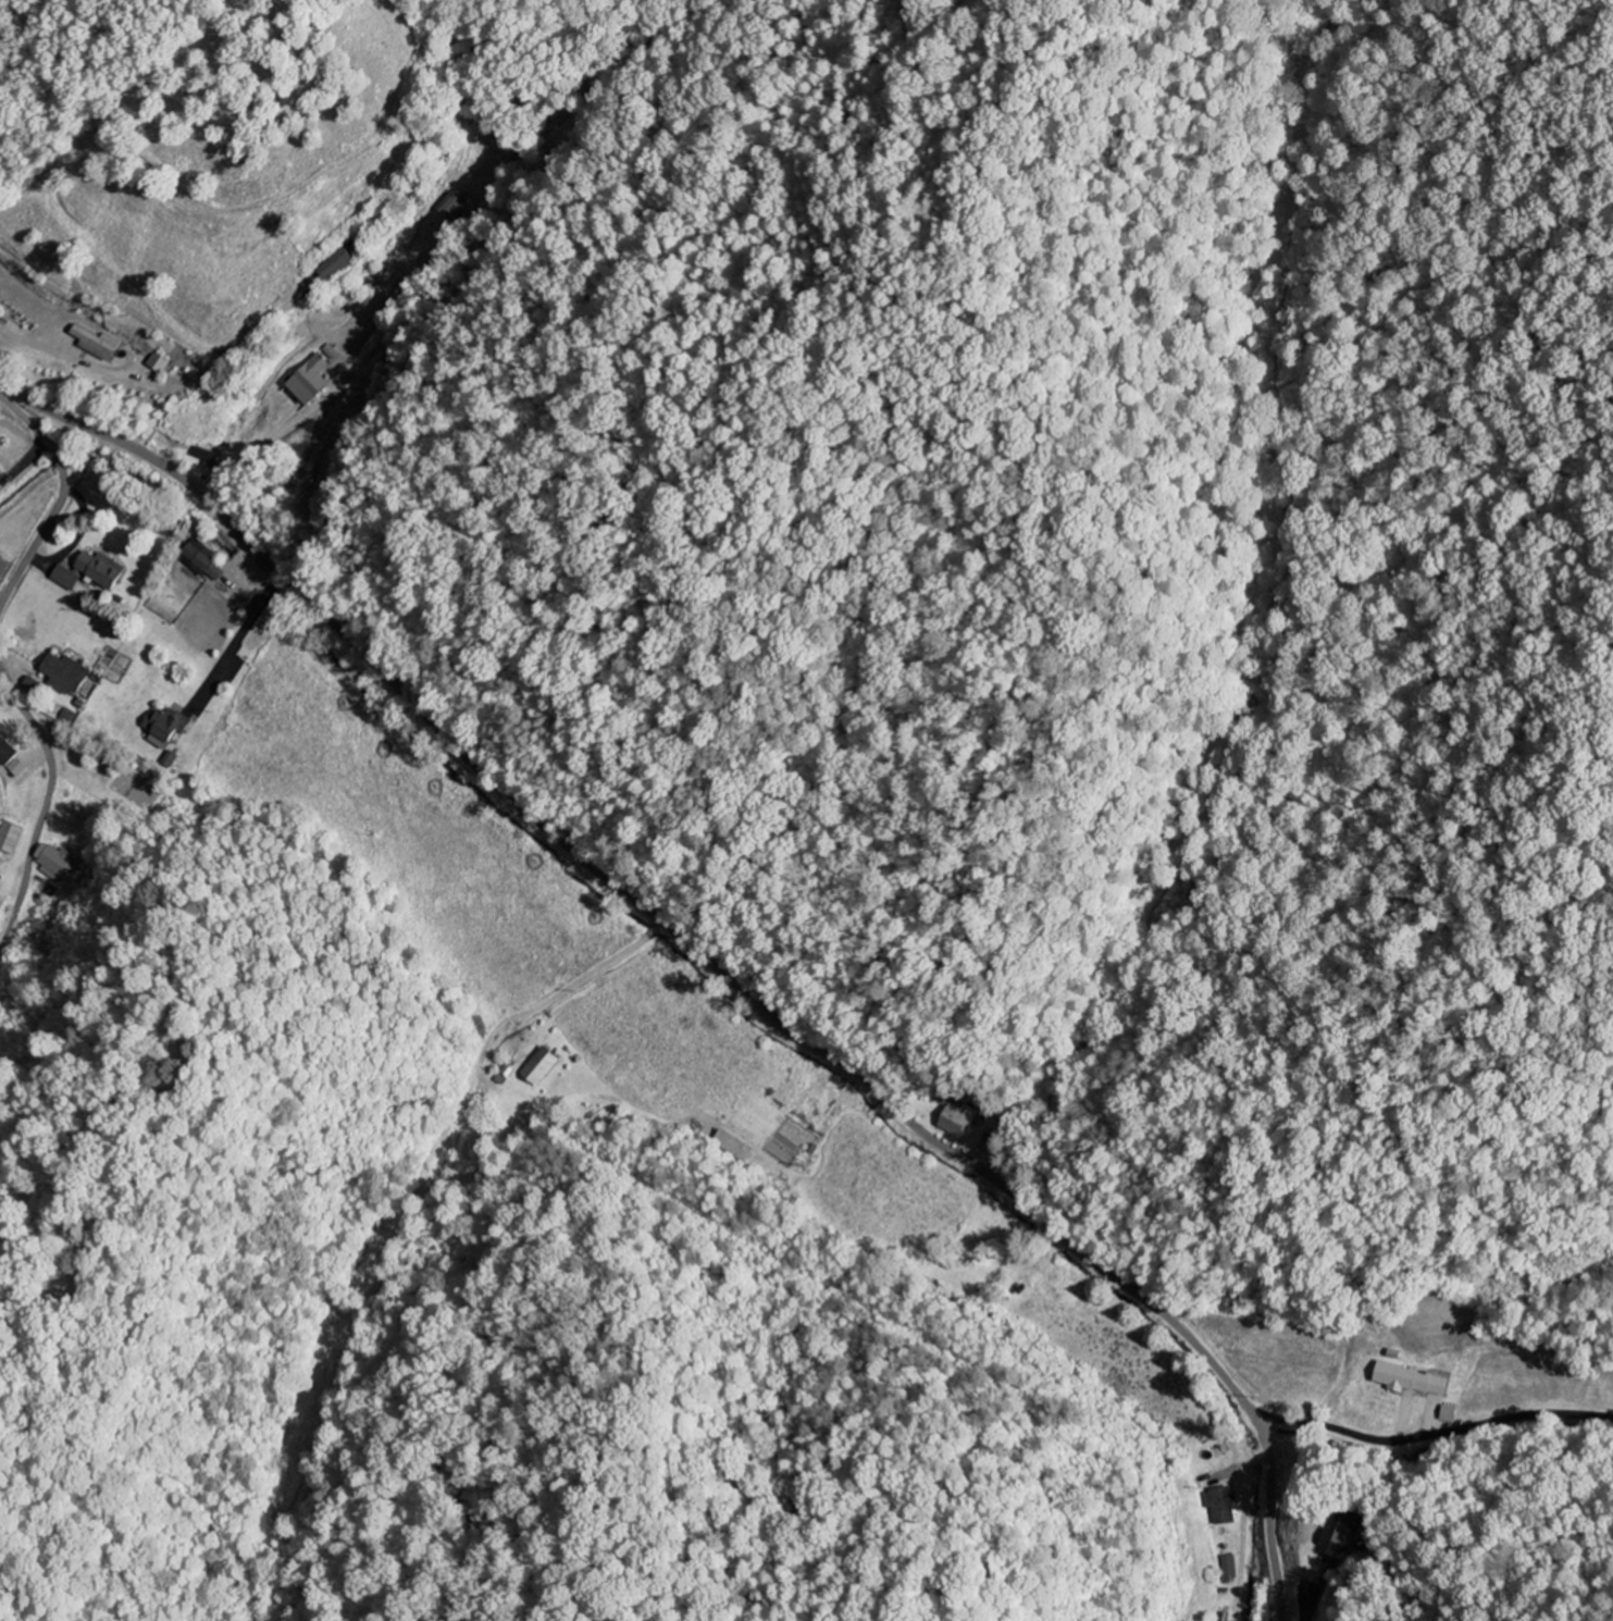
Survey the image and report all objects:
building: (338, 265)
building: (95, 344)
building: (157, 363)
building: (313, 381)
building: (0, 478)
building: (1, 490)
road: (61, 498)
building: (202, 562)
building: (91, 573)
road: (243, 630)
building: (66, 673)
building: (166, 728)
building: (11, 758)
road: (61, 804)
building: (11, 839)
building: (60, 865)
road: (232, 918)
road: (717, 952)
building: (542, 1068)
building: (958, 1122)
building: (733, 1147)
building: (1412, 1381)
building: (1450, 1414)
road: (1432, 1434)
building: (1221, 1506)
building: (1347, 1531)
building: (1227, 1567)

